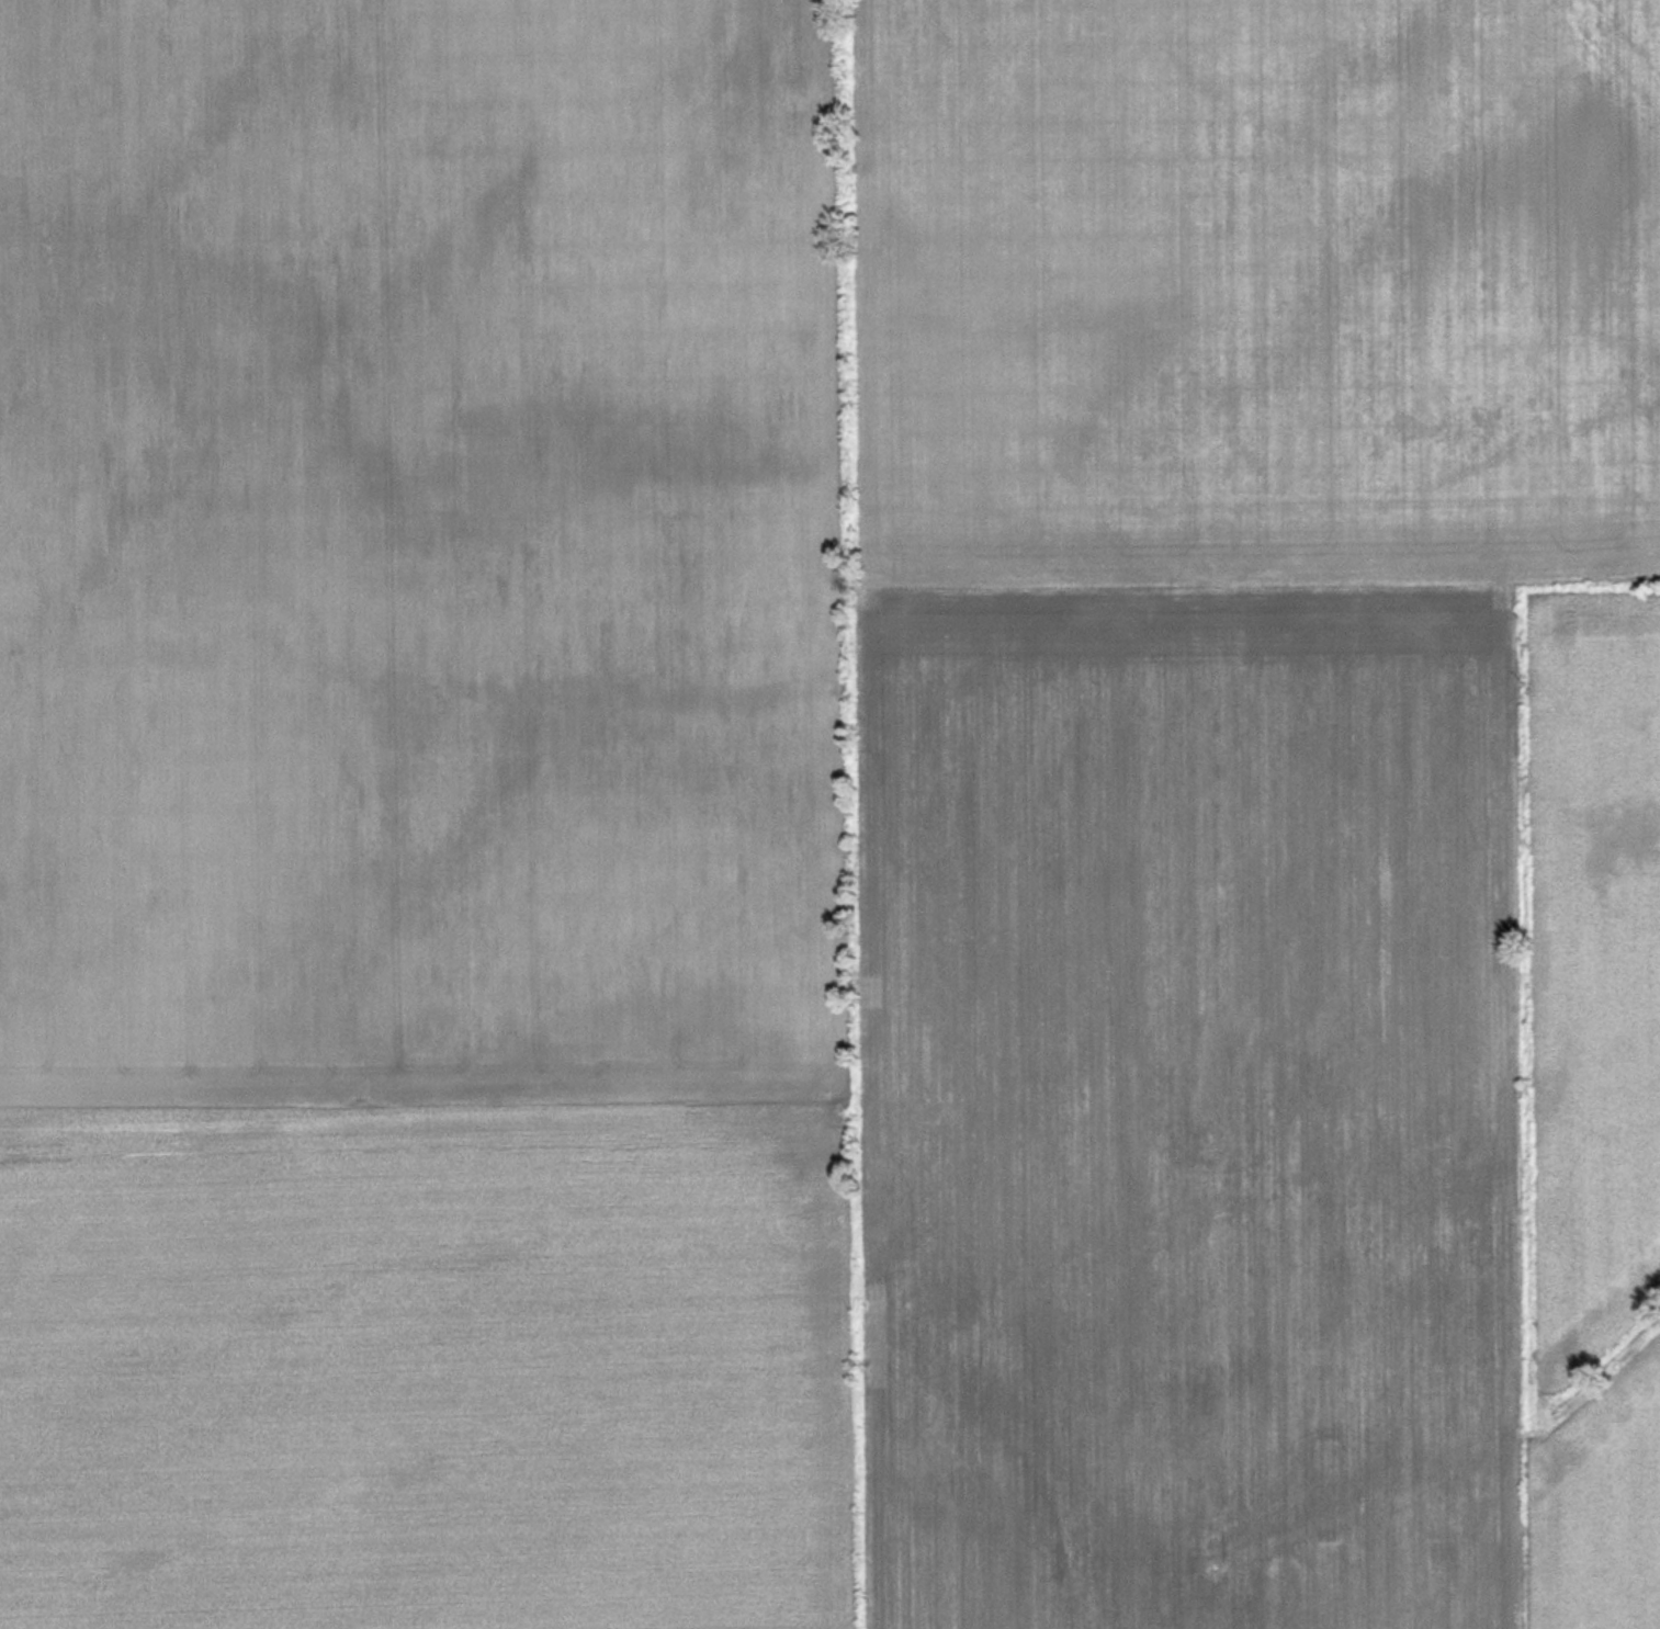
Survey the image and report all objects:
building: (1255, 91)
building: (1280, 303)

